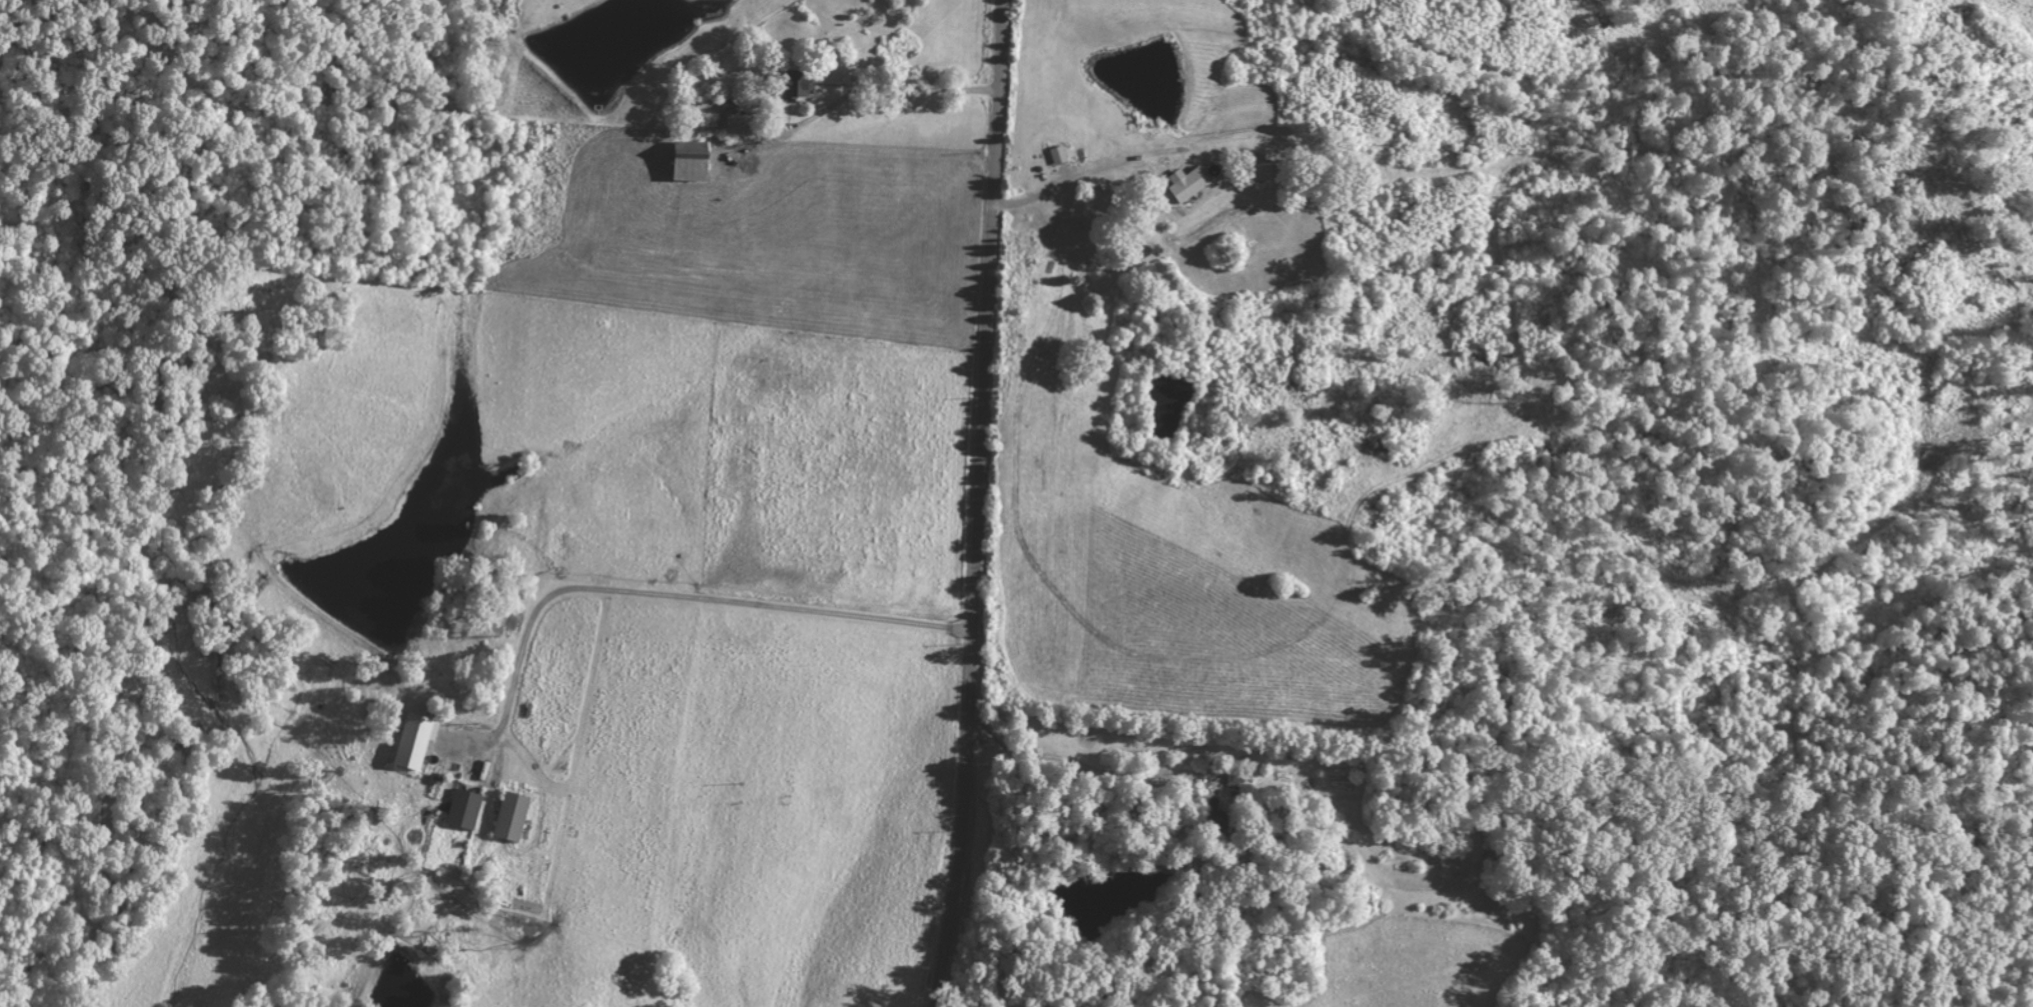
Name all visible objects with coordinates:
building: (794, 84)
building: (733, 123)
building: (1056, 154)
building: (683, 166)
building: (1259, 172)
building: (1186, 184)
road: (979, 504)
building: (411, 741)
building: (461, 809)
building: (508, 817)

